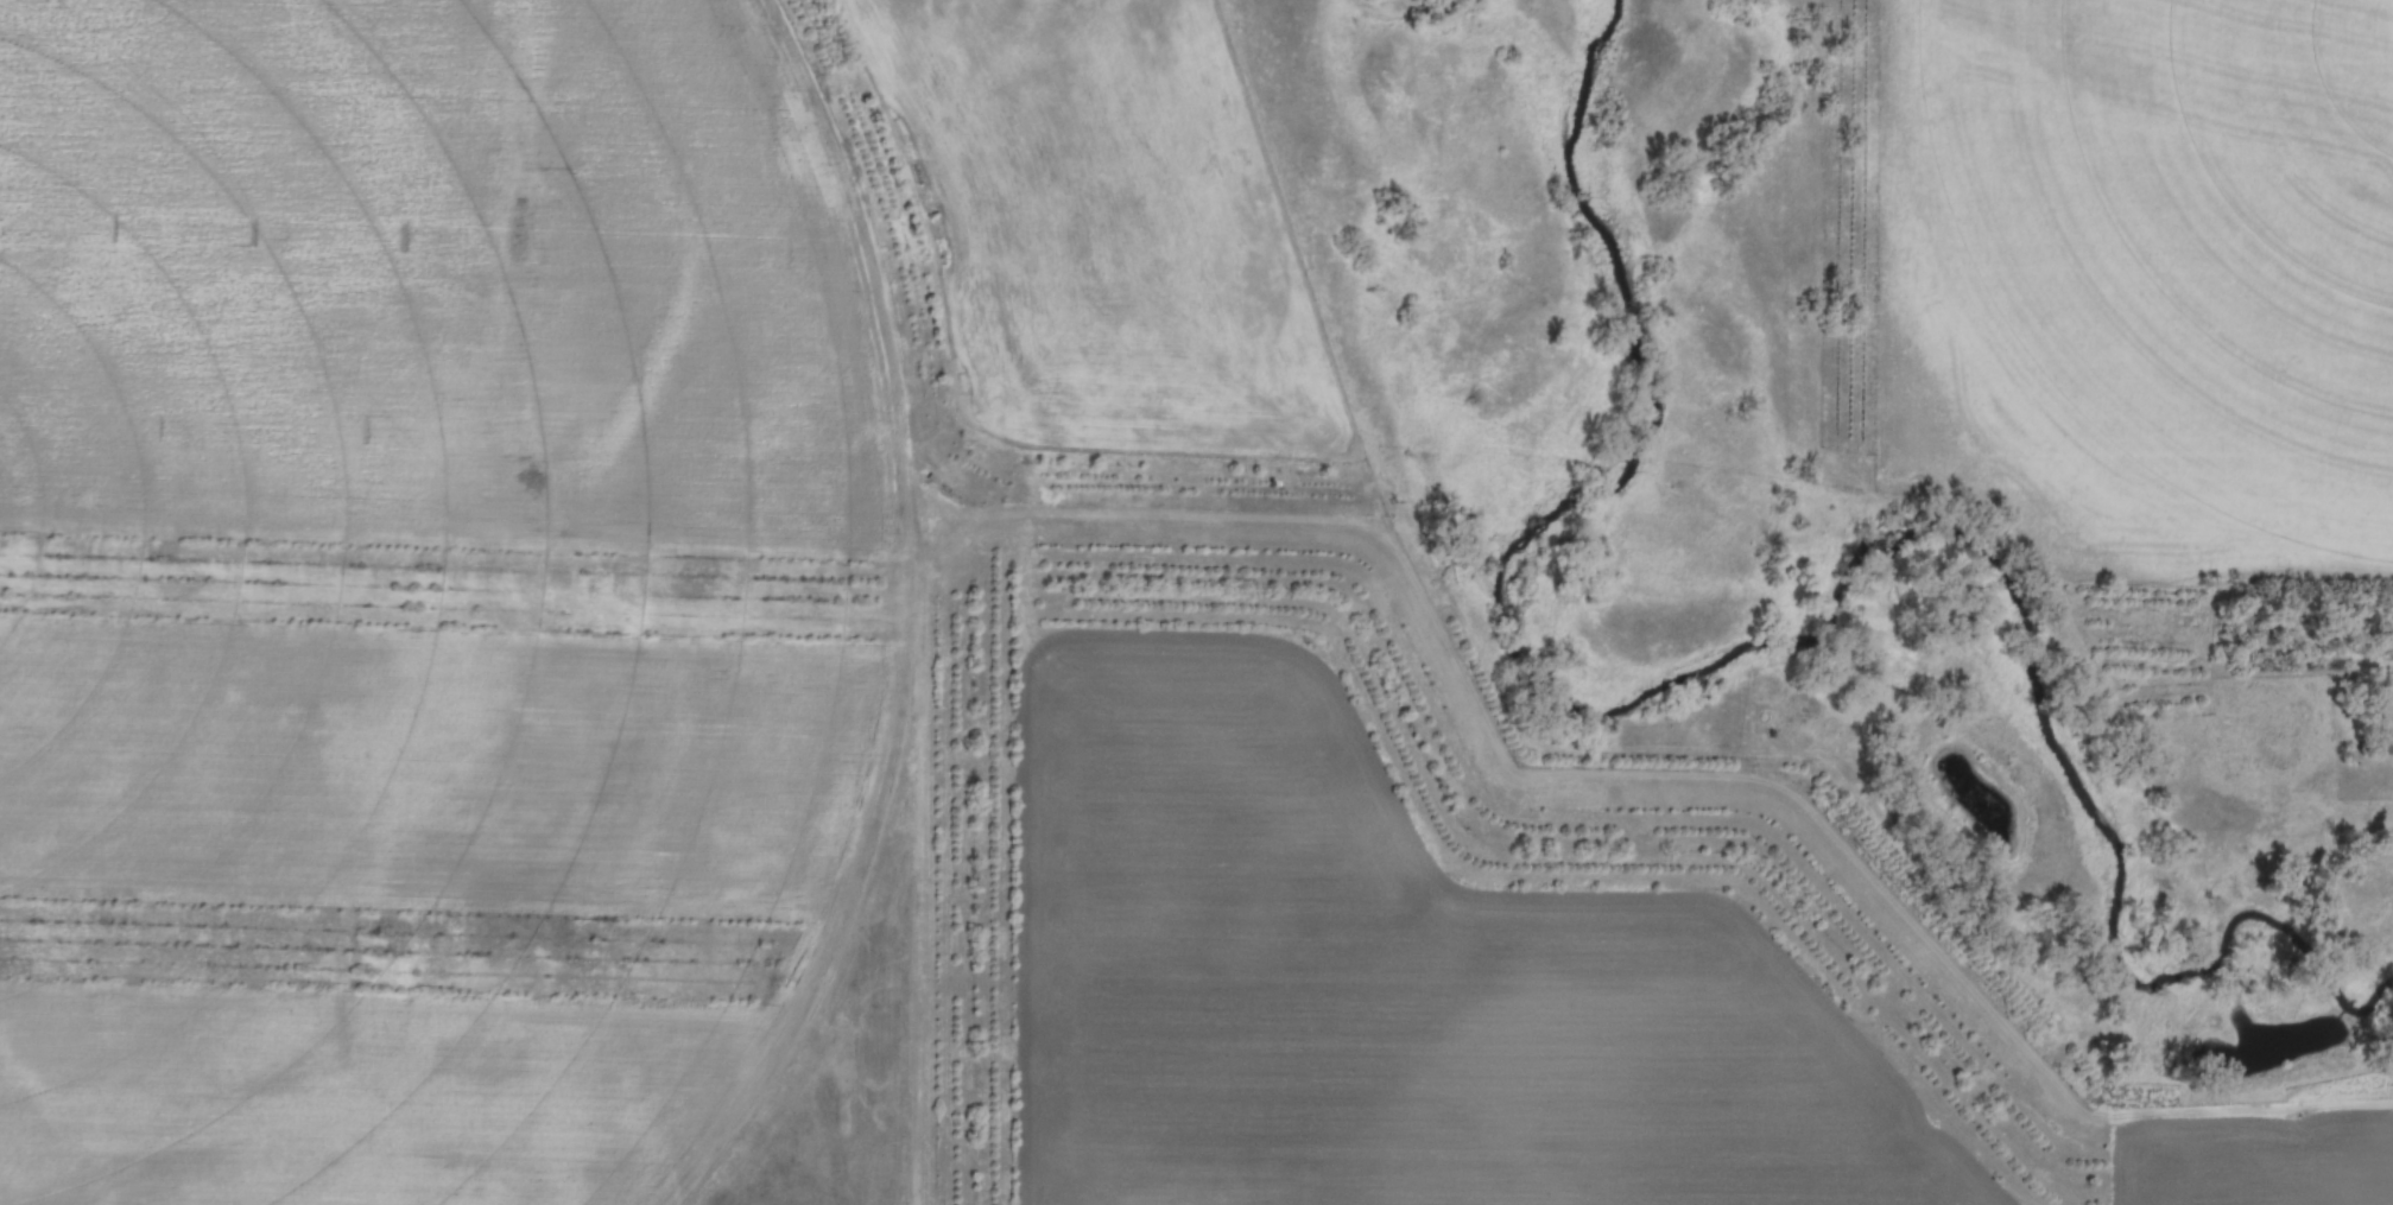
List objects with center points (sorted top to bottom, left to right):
crop: (1109, 226)
crop: (438, 271)
crop: (2150, 277)
building: (2389, 708)
building: (2385, 747)
crop: (398, 902)
crop: (1398, 978)

